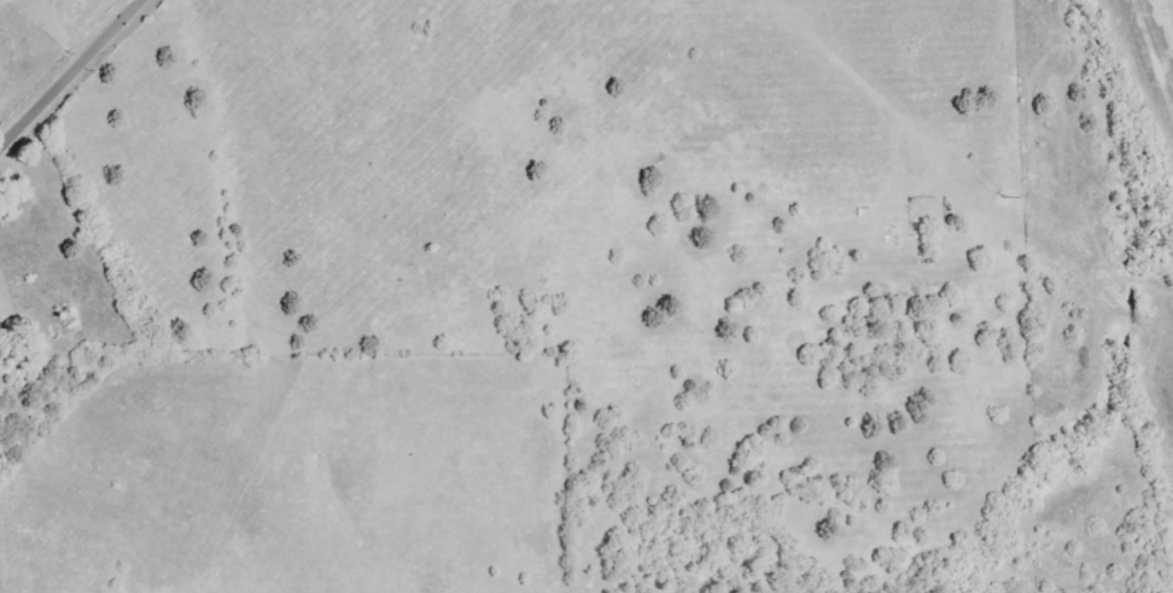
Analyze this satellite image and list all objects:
road: (69, 71)
power tower: (993, 191)
park: (58, 272)

